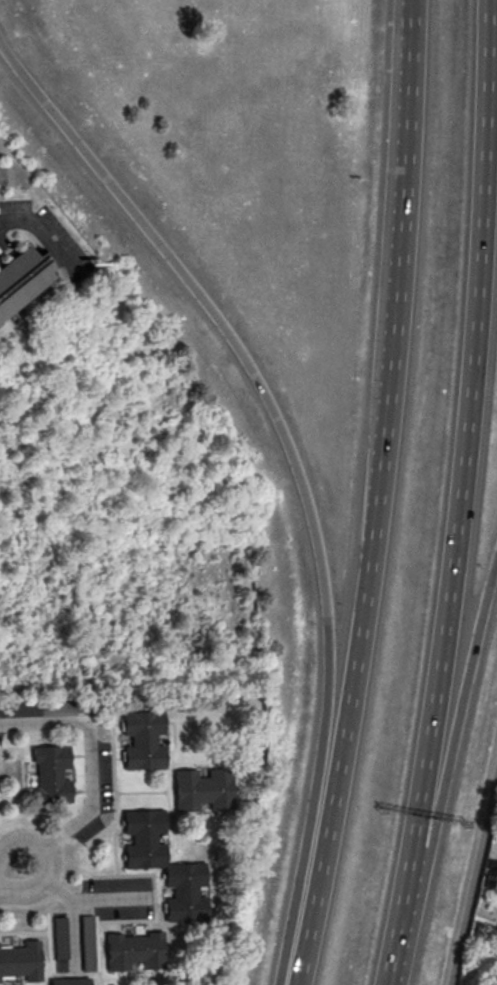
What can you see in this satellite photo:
road: (44, 236)
building: (21, 285)
road: (217, 318)
road: (461, 495)
building: (46, 709)
road: (44, 725)
building: (142, 741)
road: (447, 768)
building: (50, 775)
building: (201, 790)
road: (90, 799)
road: (345, 817)
road: (44, 863)
building: (162, 865)
road: (474, 881)
road: (56, 891)
road: (111, 901)
road: (22, 907)
building: (57, 938)
road: (73, 938)
building: (86, 944)
building: (133, 951)
building: (20, 962)
building: (68, 981)
building: (495, 982)

